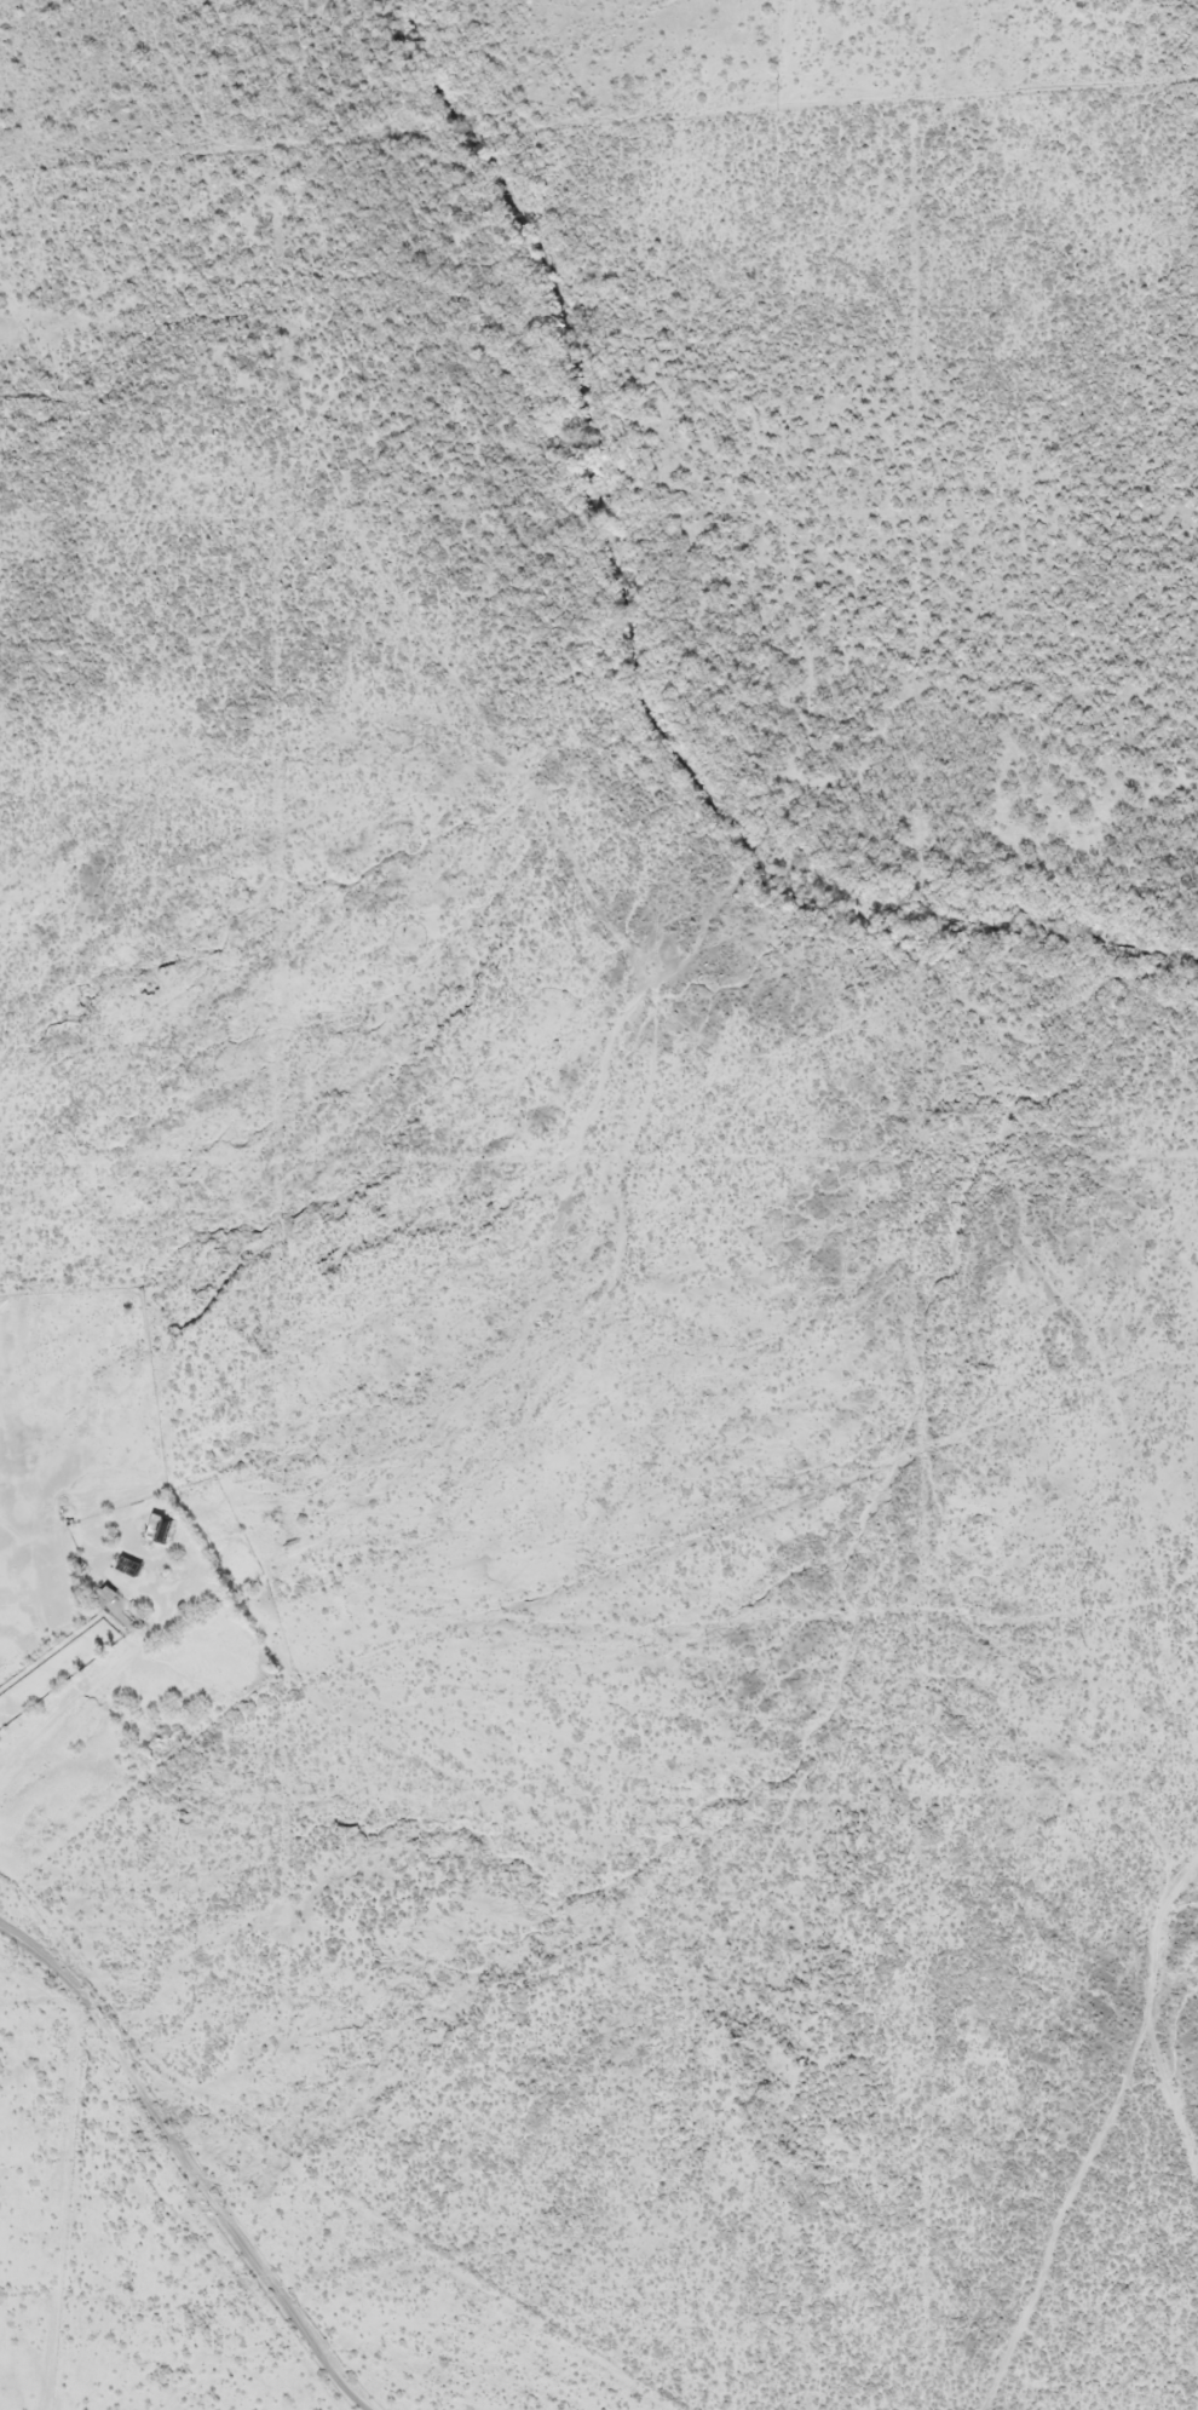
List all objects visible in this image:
road: (183, 2168)

